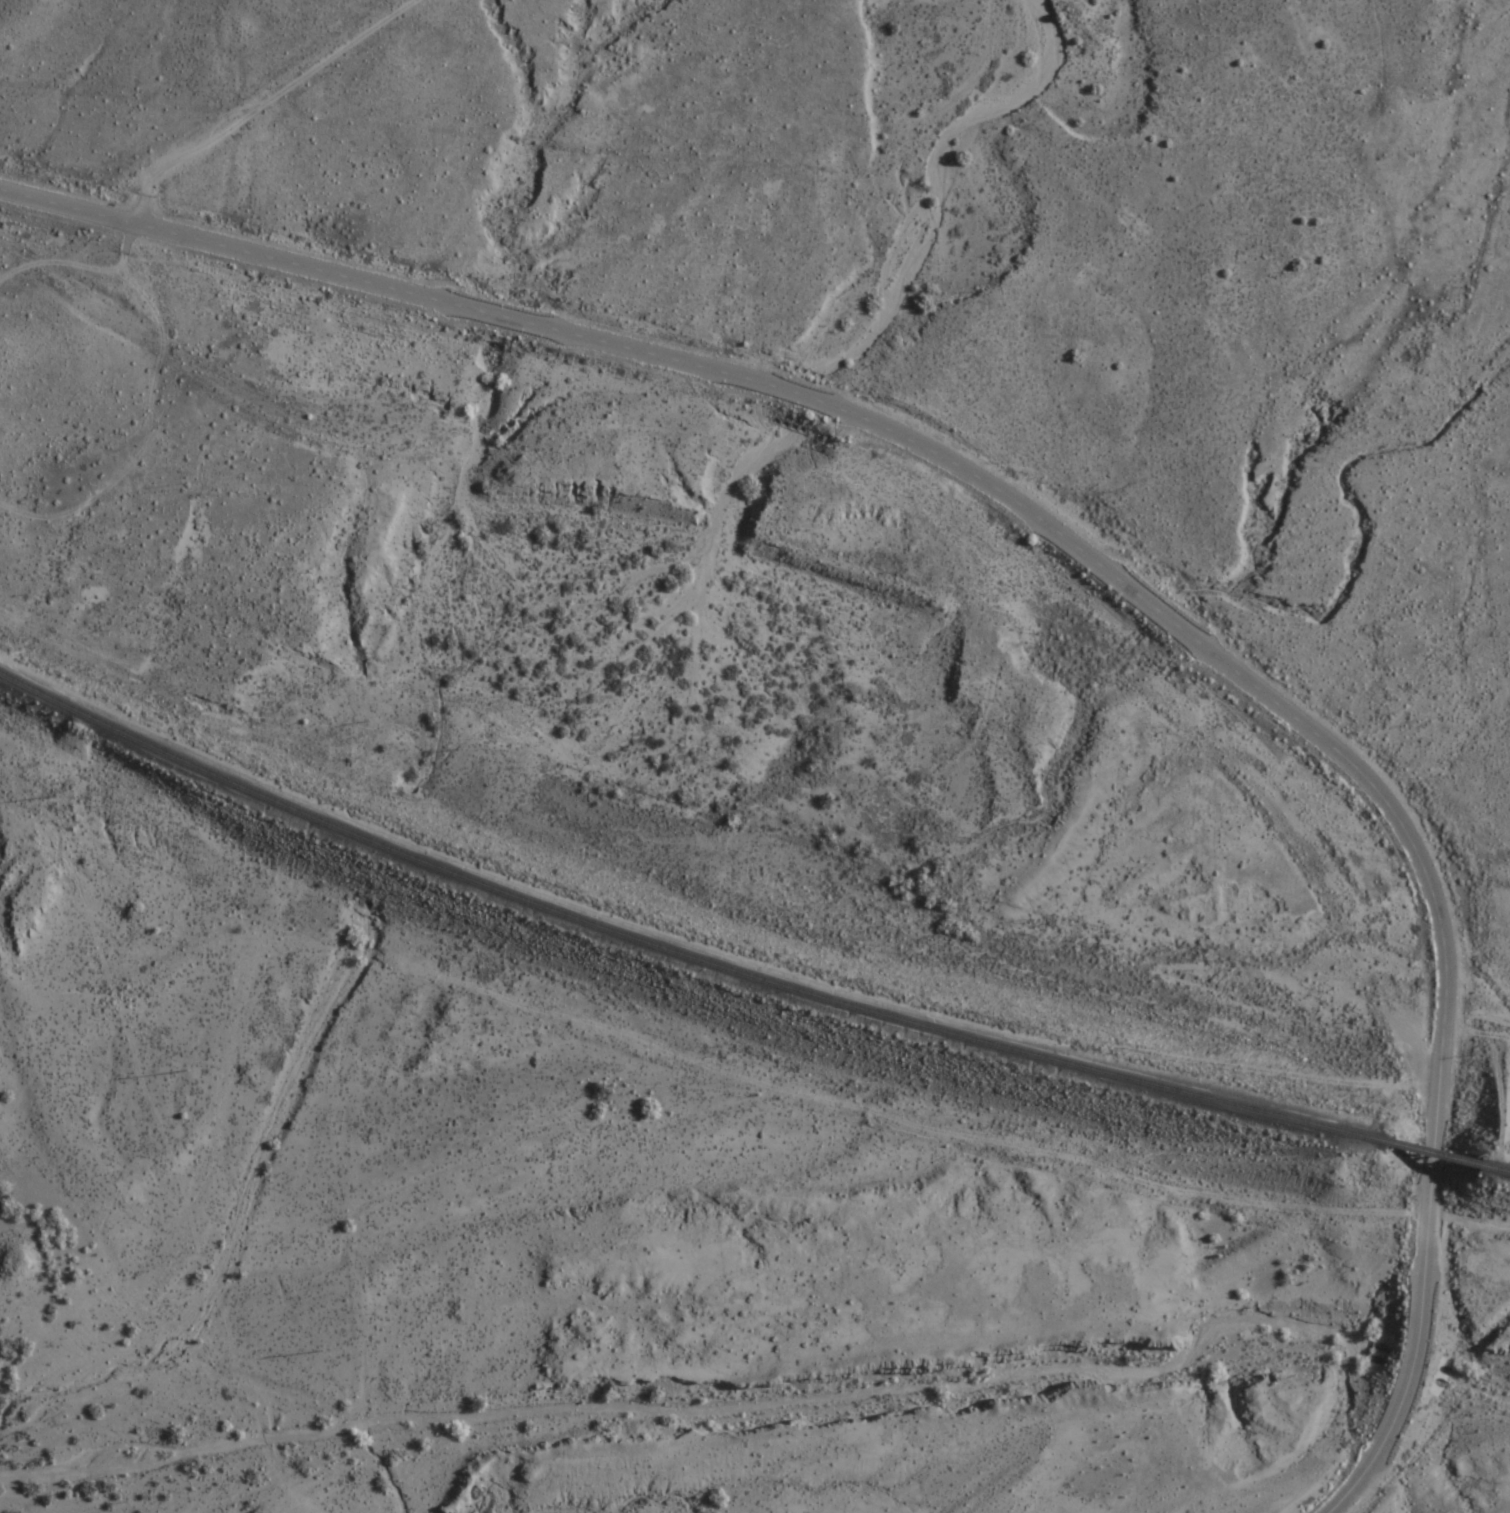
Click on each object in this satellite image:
road: (1082, 549)
railway: (679, 949)
railway: (1442, 1154)
railway: (1502, 1168)

